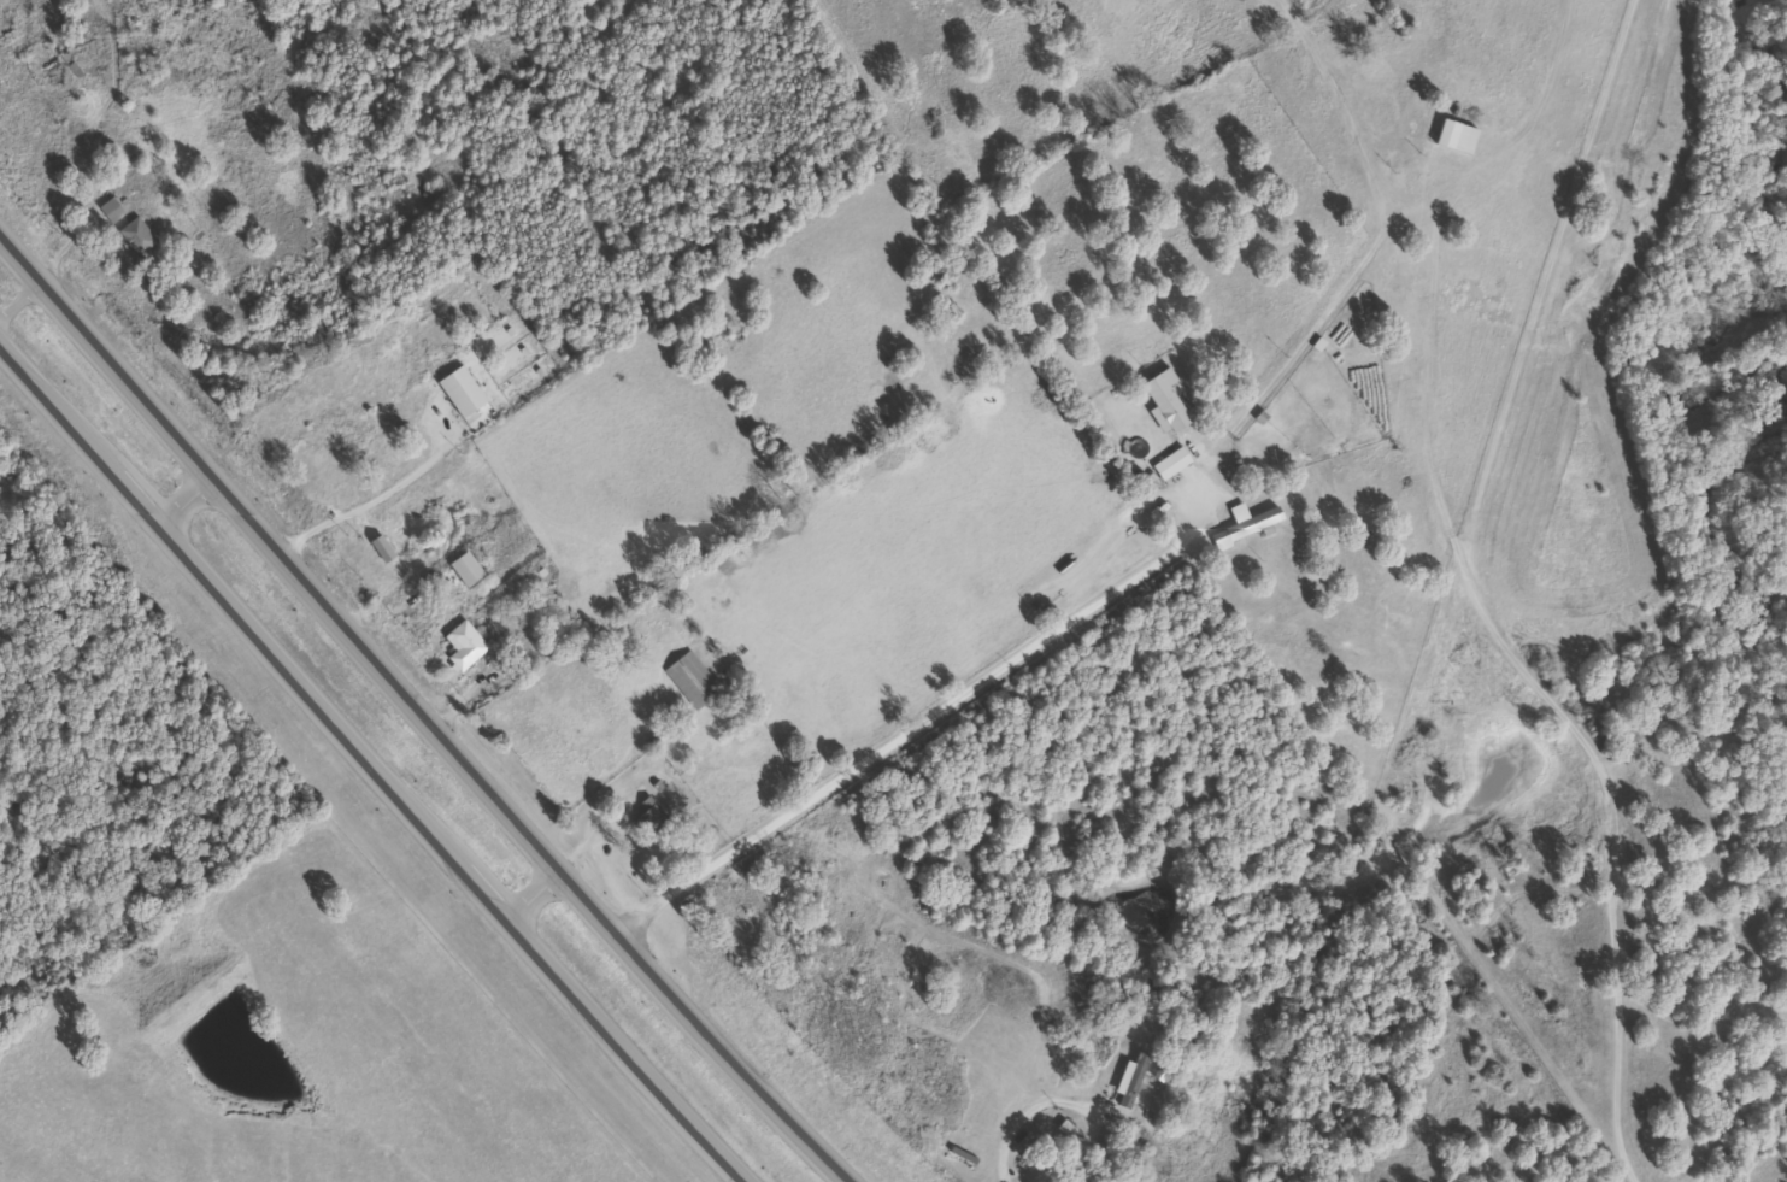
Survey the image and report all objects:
building: (1457, 136)
building: (110, 208)
building: (136, 235)
building: (1166, 399)
building: (286, 427)
building: (1170, 461)
building: (328, 482)
road: (186, 500)
building: (1246, 523)
building: (466, 568)
building: (464, 645)
building: (690, 680)
road: (418, 710)
building: (594, 737)
road: (370, 765)
building: (651, 816)
road: (564, 857)
building: (1162, 1074)
building: (1131, 1077)
building: (1068, 1129)

